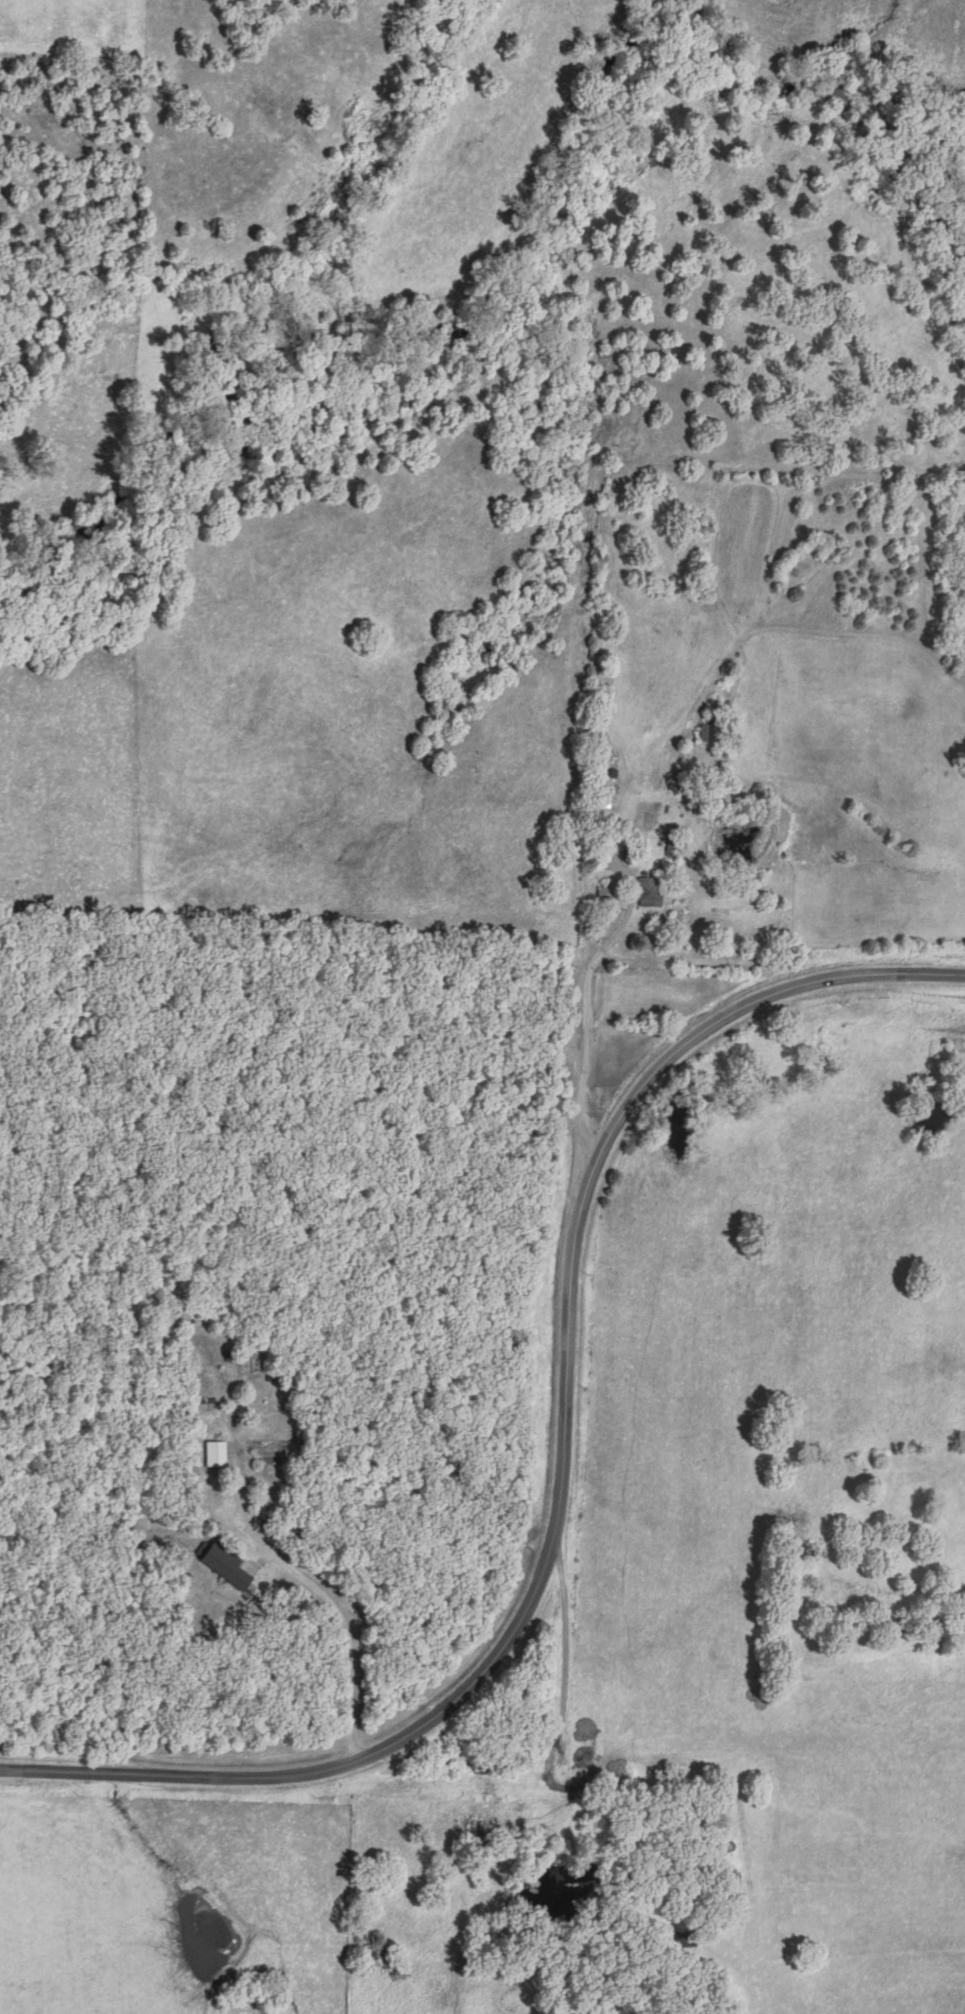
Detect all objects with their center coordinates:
building: (708, 728)
building: (651, 889)
road: (590, 975)
building: (216, 1450)
road: (566, 1467)
building: (224, 1560)
road: (322, 1600)
road: (566, 1661)

